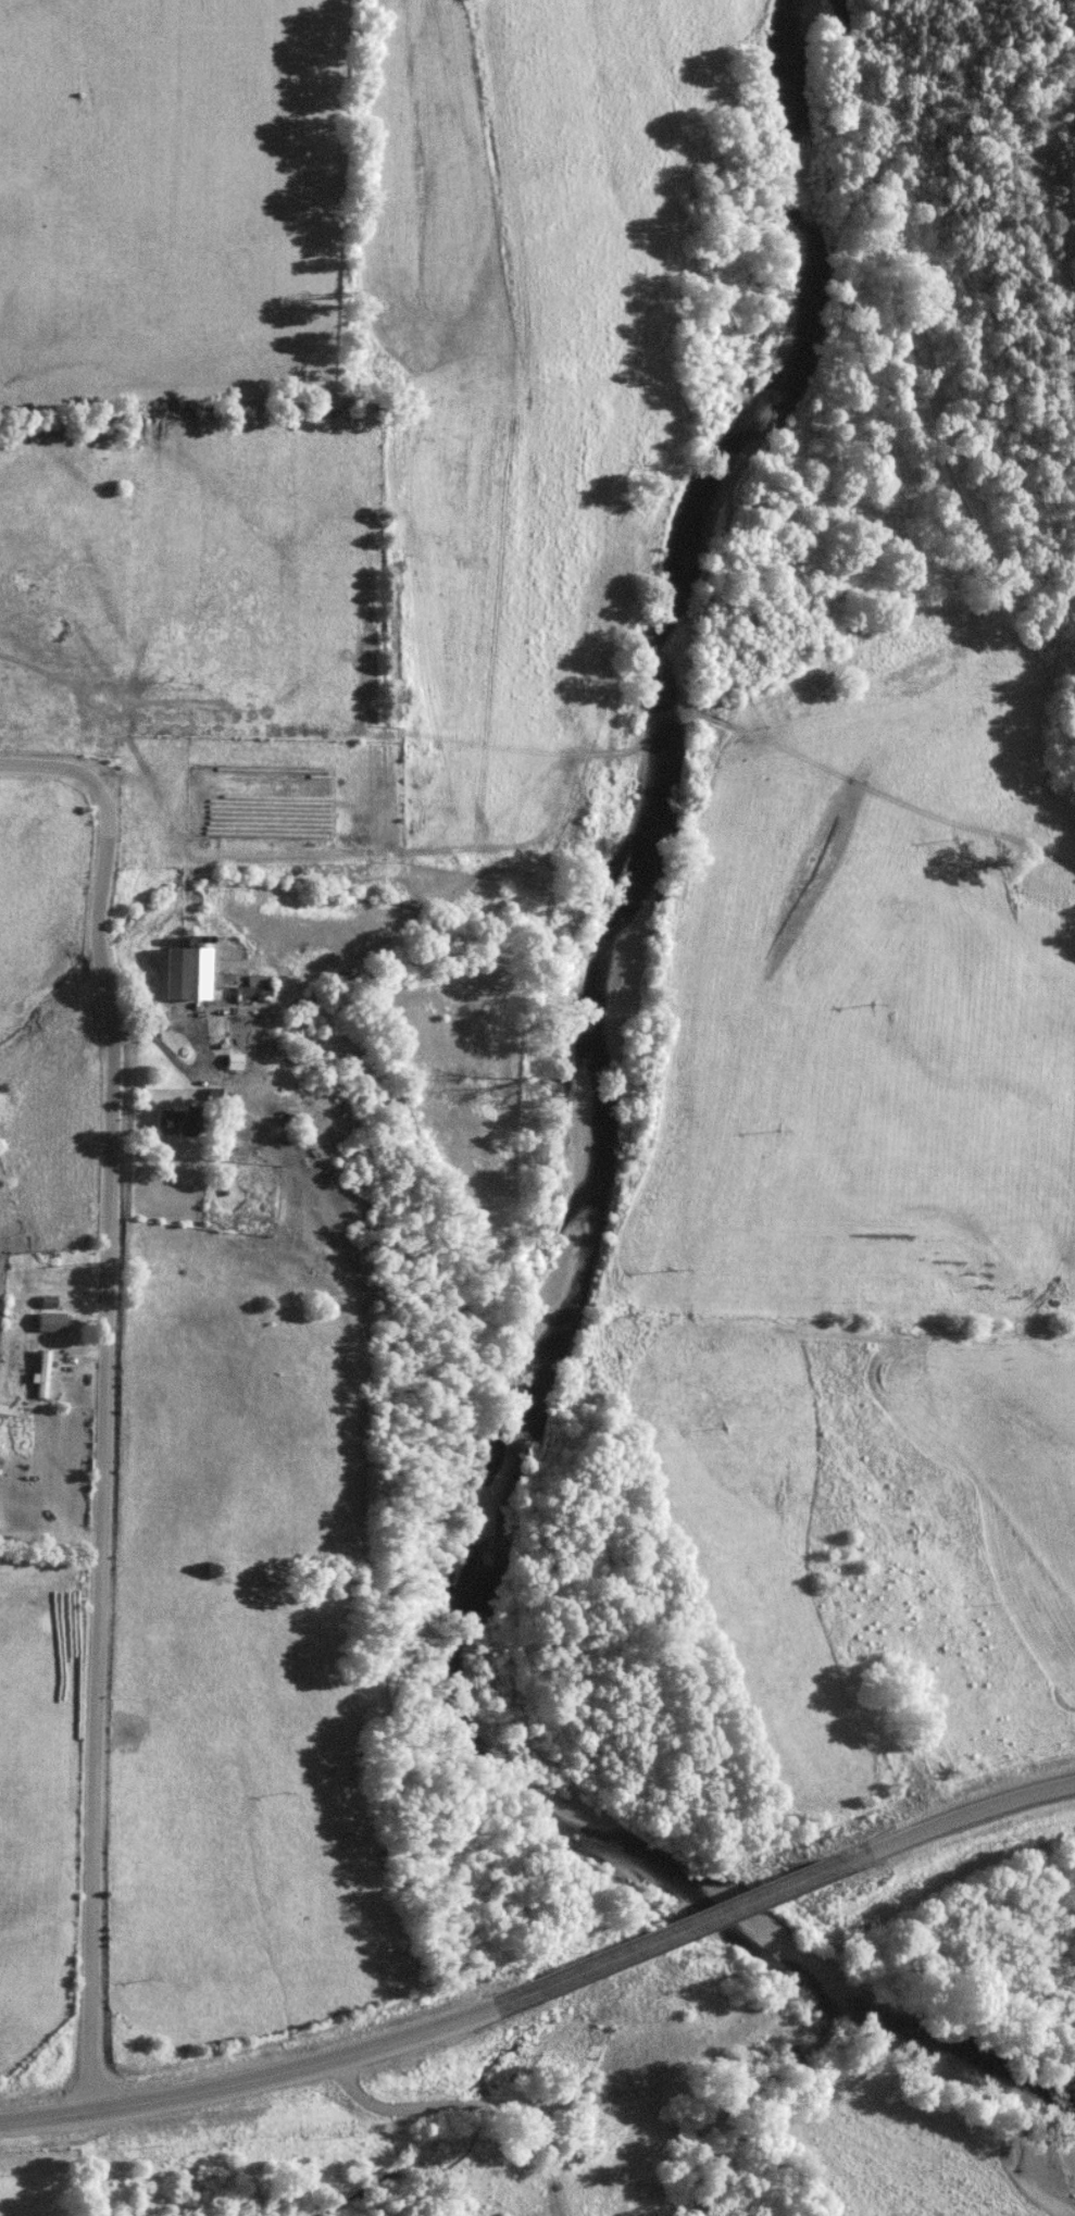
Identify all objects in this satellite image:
building: (192, 973)
building: (238, 1061)
building: (173, 1122)
building: (53, 1321)
building: (45, 1373)
road: (114, 1391)
building: (8, 1415)
road: (952, 1817)
road: (726, 1909)
road: (314, 2062)
road: (455, 2105)
road: (540, 2159)

